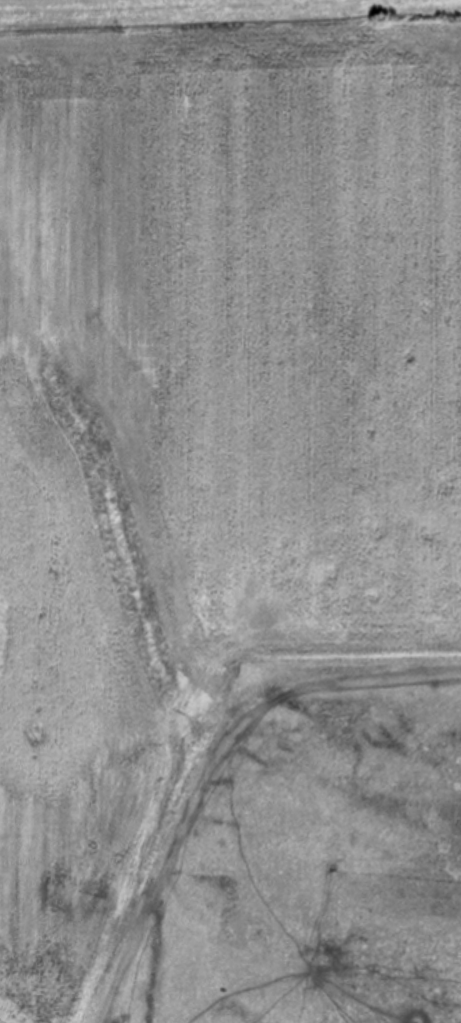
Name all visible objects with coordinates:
road: (214, 766)

